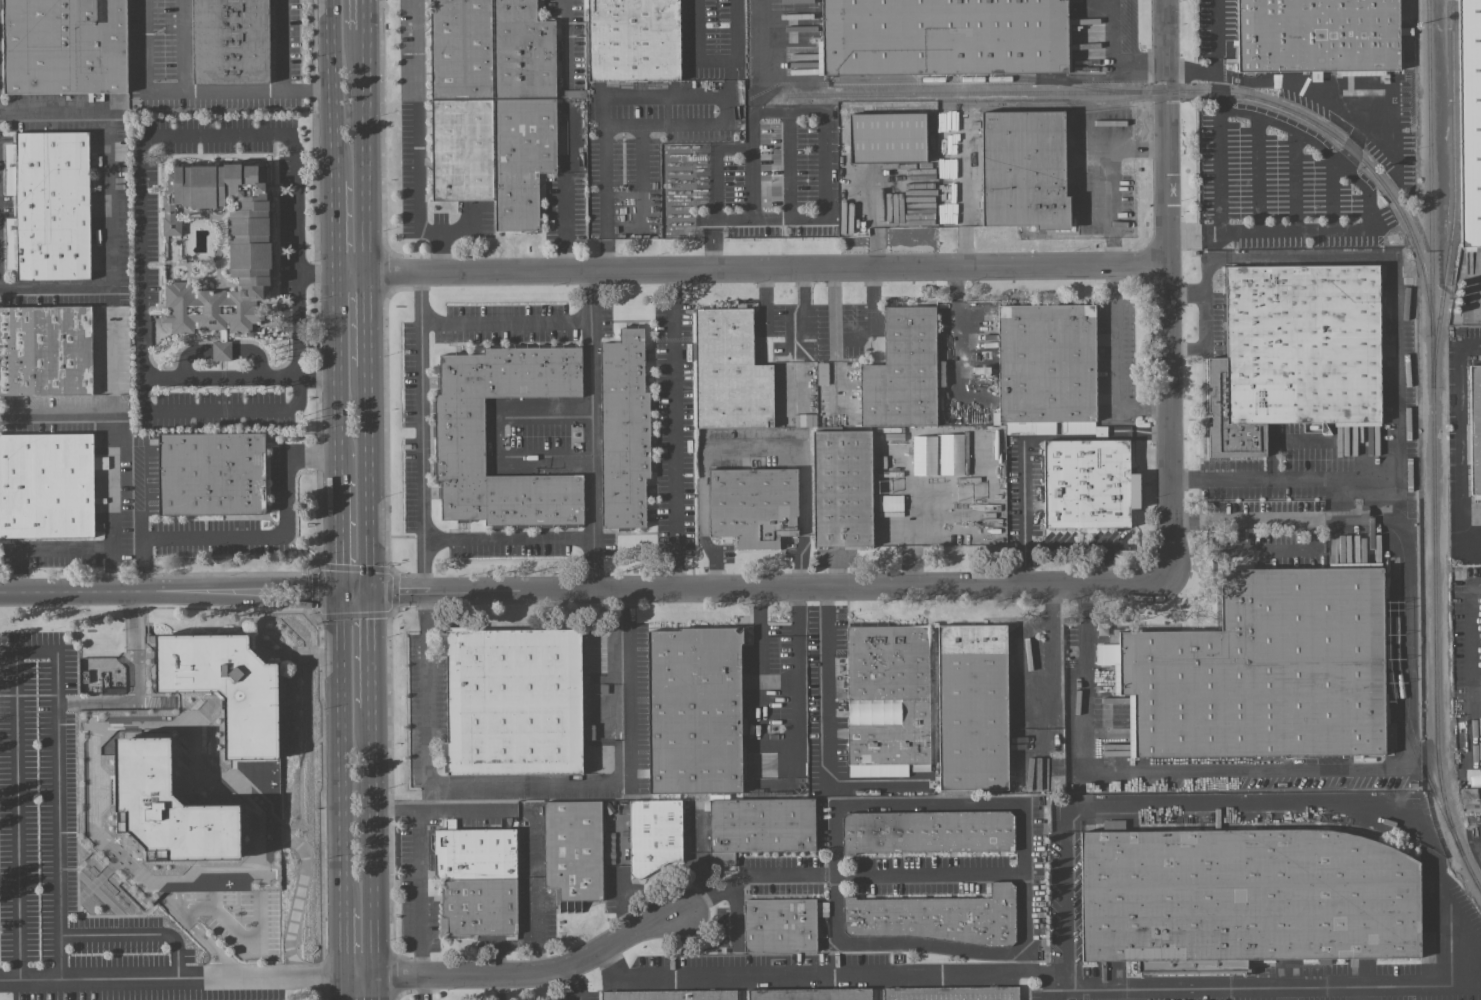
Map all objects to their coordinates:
road: (363, 14)
building: (1317, 35)
building: (942, 36)
road: (1212, 37)
road: (565, 40)
building: (633, 40)
building: (230, 41)
road: (780, 41)
road: (185, 45)
road: (282, 45)
building: (64, 46)
road: (1113, 59)
road: (715, 63)
road: (1189, 74)
road: (727, 79)
railway: (985, 79)
road: (333, 89)
road: (194, 90)
railway: (1180, 91)
road: (651, 96)
building: (492, 105)
building: (1469, 120)
building: (887, 136)
road: (417, 142)
road: (365, 151)
road: (751, 152)
road: (790, 162)
road: (828, 166)
building: (1023, 168)
road: (641, 173)
road: (1220, 174)
road: (1114, 182)
road: (565, 190)
railway: (1453, 194)
road: (107, 201)
road: (1370, 203)
building: (48, 205)
road: (336, 227)
road: (876, 229)
road: (456, 231)
road: (965, 235)
road: (714, 238)
road: (710, 239)
building: (1471, 248)
building: (248, 256)
road: (712, 257)
road: (1209, 258)
road: (140, 269)
road: (752, 269)
road: (1392, 277)
road: (1168, 291)
road: (367, 319)
road: (505, 324)
road: (297, 326)
road: (337, 326)
road: (1204, 336)
building: (45, 350)
building: (221, 350)
building: (1293, 352)
road: (1117, 360)
building: (1046, 368)
building: (729, 371)
building: (903, 371)
road: (318, 378)
building: (805, 419)
road: (339, 426)
building: (623, 429)
road: (674, 429)
road: (591, 430)
building: (1474, 430)
road: (423, 431)
road: (496, 434)
road: (1022, 437)
building: (458, 442)
road: (1462, 446)
road: (752, 448)
railway: (1432, 449)
road: (109, 450)
building: (951, 454)
building: (924, 455)
building: (211, 473)
road: (369, 476)
building: (1088, 483)
building: (46, 484)
building: (841, 487)
building: (890, 503)
building: (752, 505)
road: (1394, 514)
road: (1281, 521)
road: (909, 525)
road: (340, 532)
road: (253, 538)
road: (509, 540)
road: (43, 548)
road: (1065, 549)
road: (1107, 567)
traffic signals: (342, 589)
traffic signals: (371, 589)
road: (582, 589)
road: (390, 613)
road: (1053, 646)
road: (371, 648)
road: (1474, 668)
building: (1263, 669)
road: (16, 678)
building: (226, 686)
building: (887, 699)
building: (513, 701)
building: (972, 707)
building: (694, 709)
railway: (1407, 713)
railway: (1403, 721)
road: (826, 727)
road: (779, 745)
road: (343, 748)
road: (1149, 769)
road: (529, 783)
building: (538, 784)
building: (569, 788)
building: (170, 806)
road: (321, 807)
road: (529, 814)
building: (758, 825)
building: (689, 829)
building: (927, 831)
road: (1480, 832)
building: (654, 834)
road: (373, 843)
road: (58, 844)
building: (572, 850)
road: (1022, 870)
road: (851, 874)
building: (476, 879)
road: (420, 892)
building: (1246, 896)
road: (192, 905)
road: (1449, 905)
road: (1064, 907)
road: (736, 910)
building: (932, 916)
building: (779, 925)
road: (139, 933)
road: (346, 944)
road: (831, 970)
road: (524, 972)
road: (575, 981)
road: (173, 983)
road: (422, 988)
road: (375, 989)
road: (347, 990)
building: (810, 993)
building: (951, 993)
building: (669, 994)

